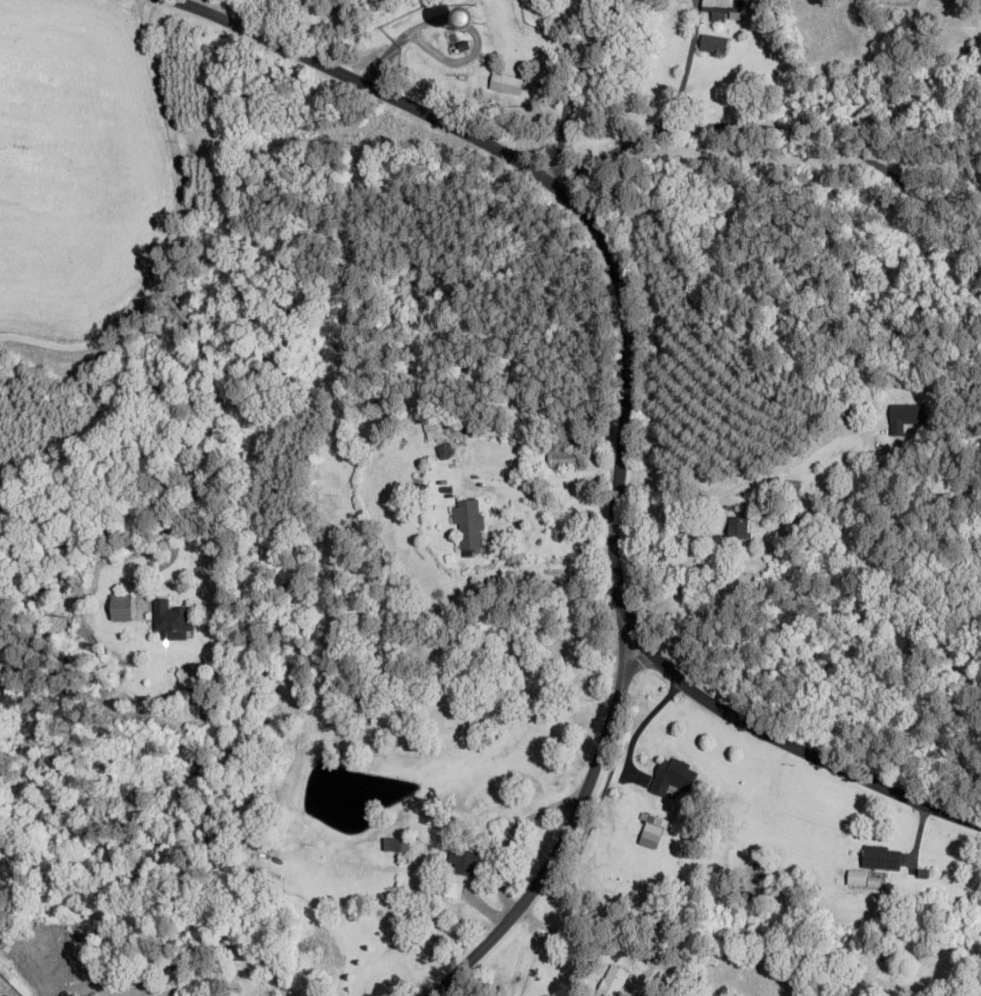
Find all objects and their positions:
building: (724, 8)
building: (715, 45)
road: (574, 82)
road: (367, 83)
building: (507, 84)
road: (773, 128)
road: (174, 231)
road: (627, 401)
building: (909, 415)
road: (223, 426)
building: (565, 455)
building: (469, 525)
building: (740, 529)
building: (124, 608)
building: (171, 618)
road: (798, 748)
building: (674, 777)
road: (567, 835)
building: (398, 845)
building: (883, 859)
building: (466, 862)
building: (452, 890)
building: (12, 982)
building: (613, 982)

